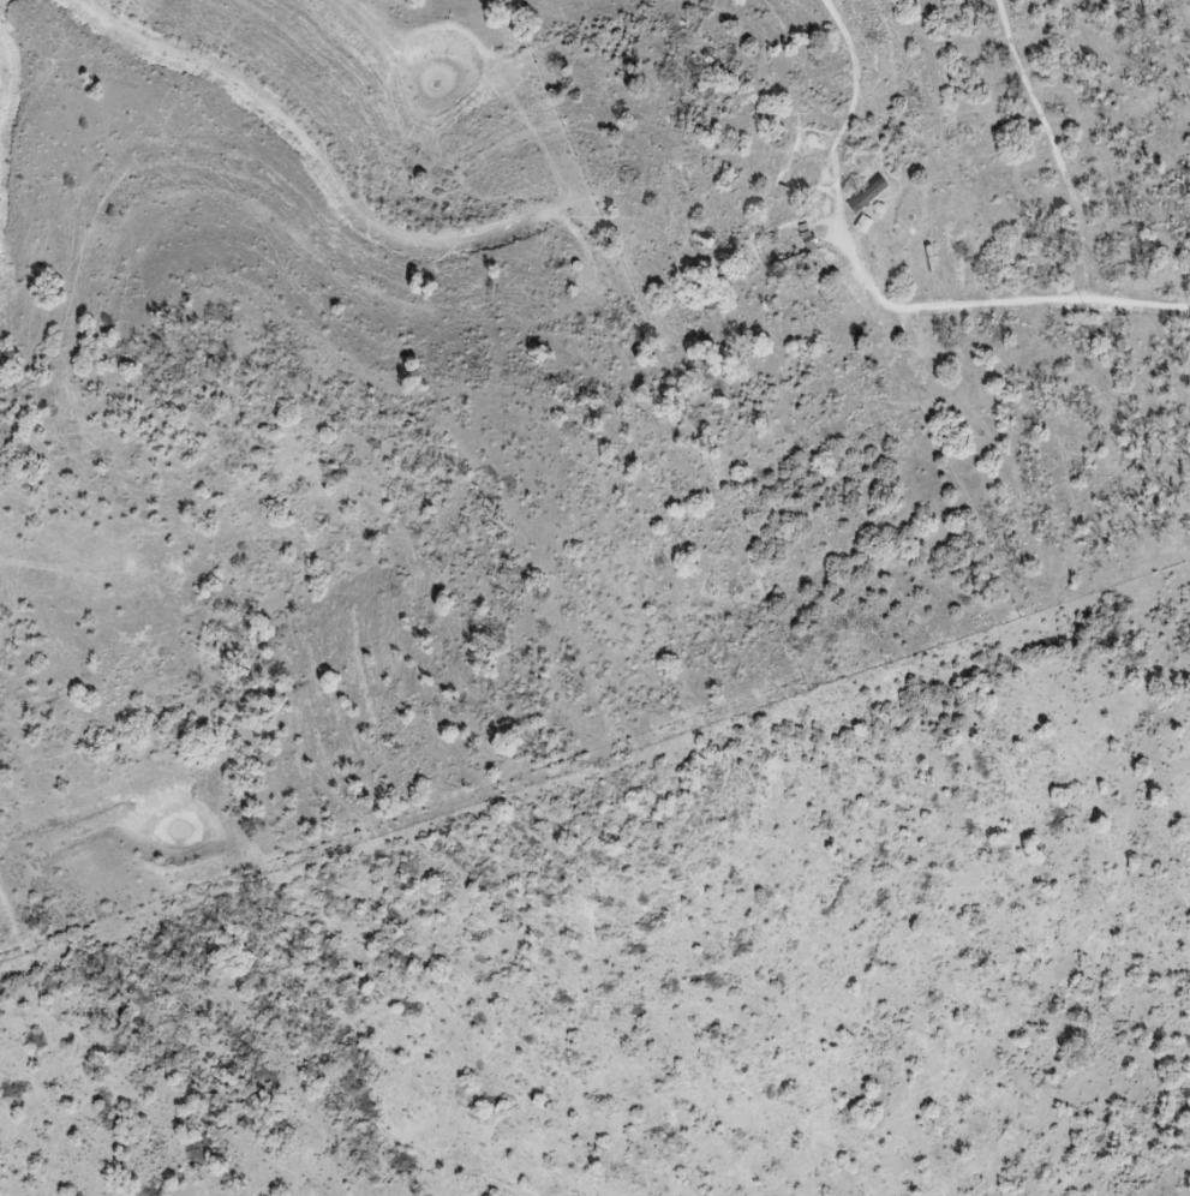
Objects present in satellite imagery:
road: (1054, 148)
building: (866, 196)
road: (854, 250)
road: (1138, 303)

